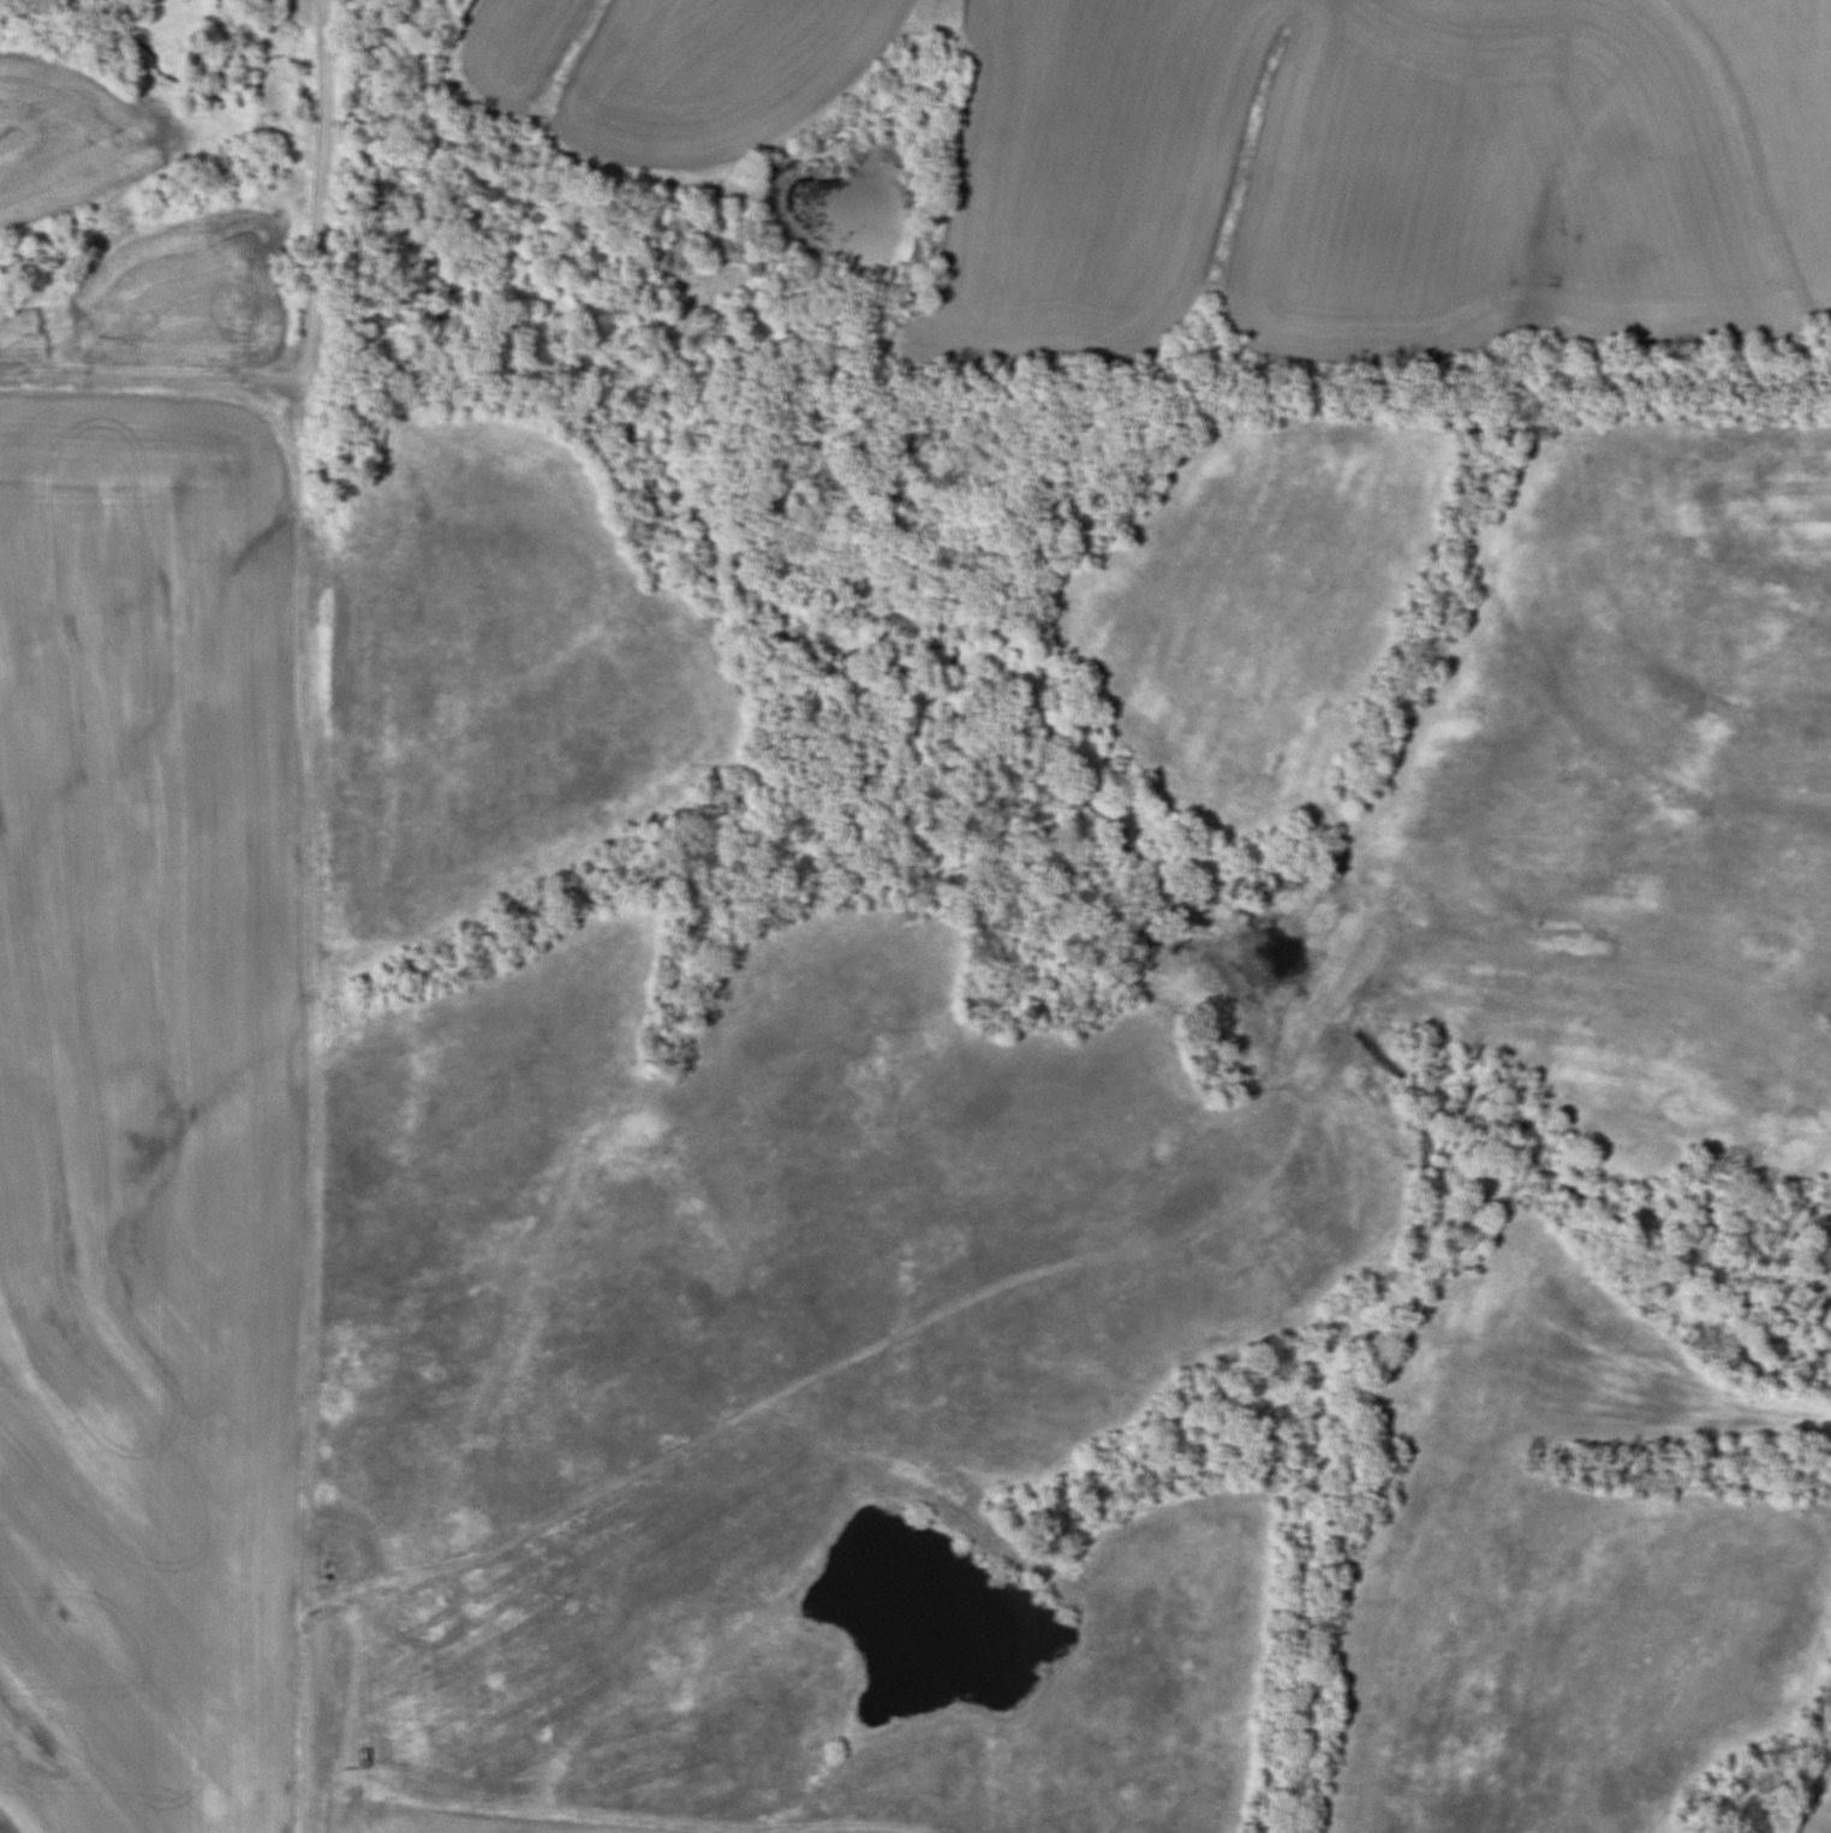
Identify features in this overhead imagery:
road: (276, 1656)

